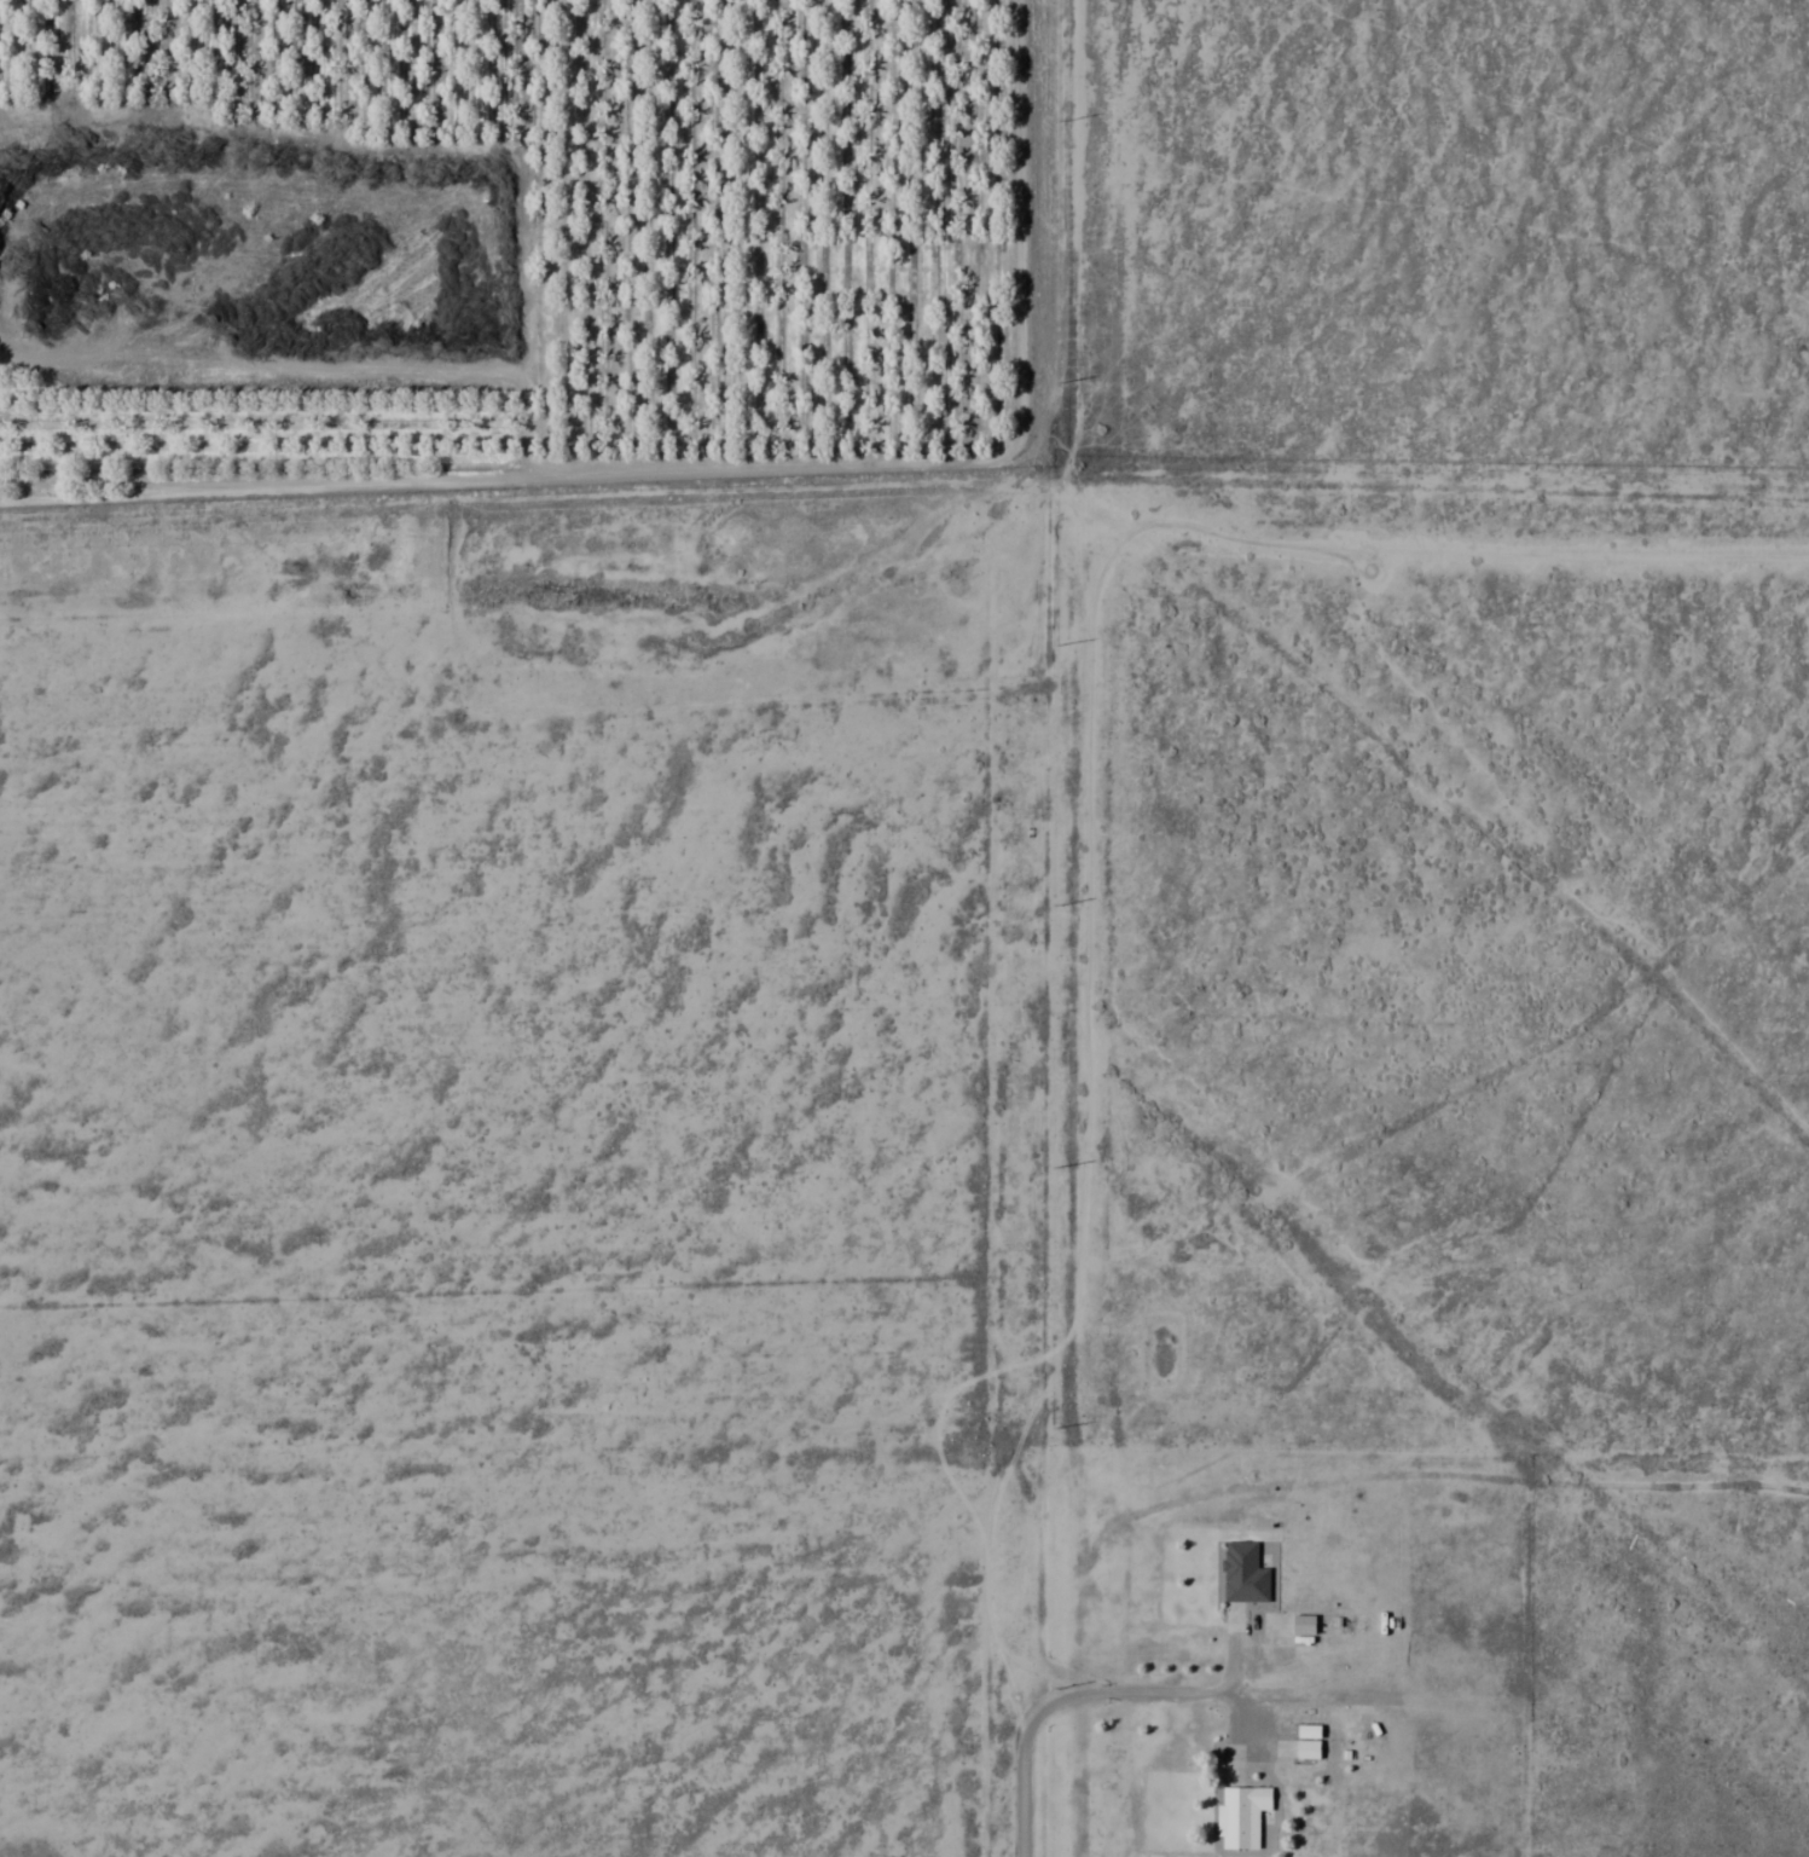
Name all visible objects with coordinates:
road: (1021, 237)
road: (904, 481)
building: (1242, 1573)
building: (1303, 1624)
road: (1146, 1691)
building: (1300, 1743)
building: (1241, 1815)

